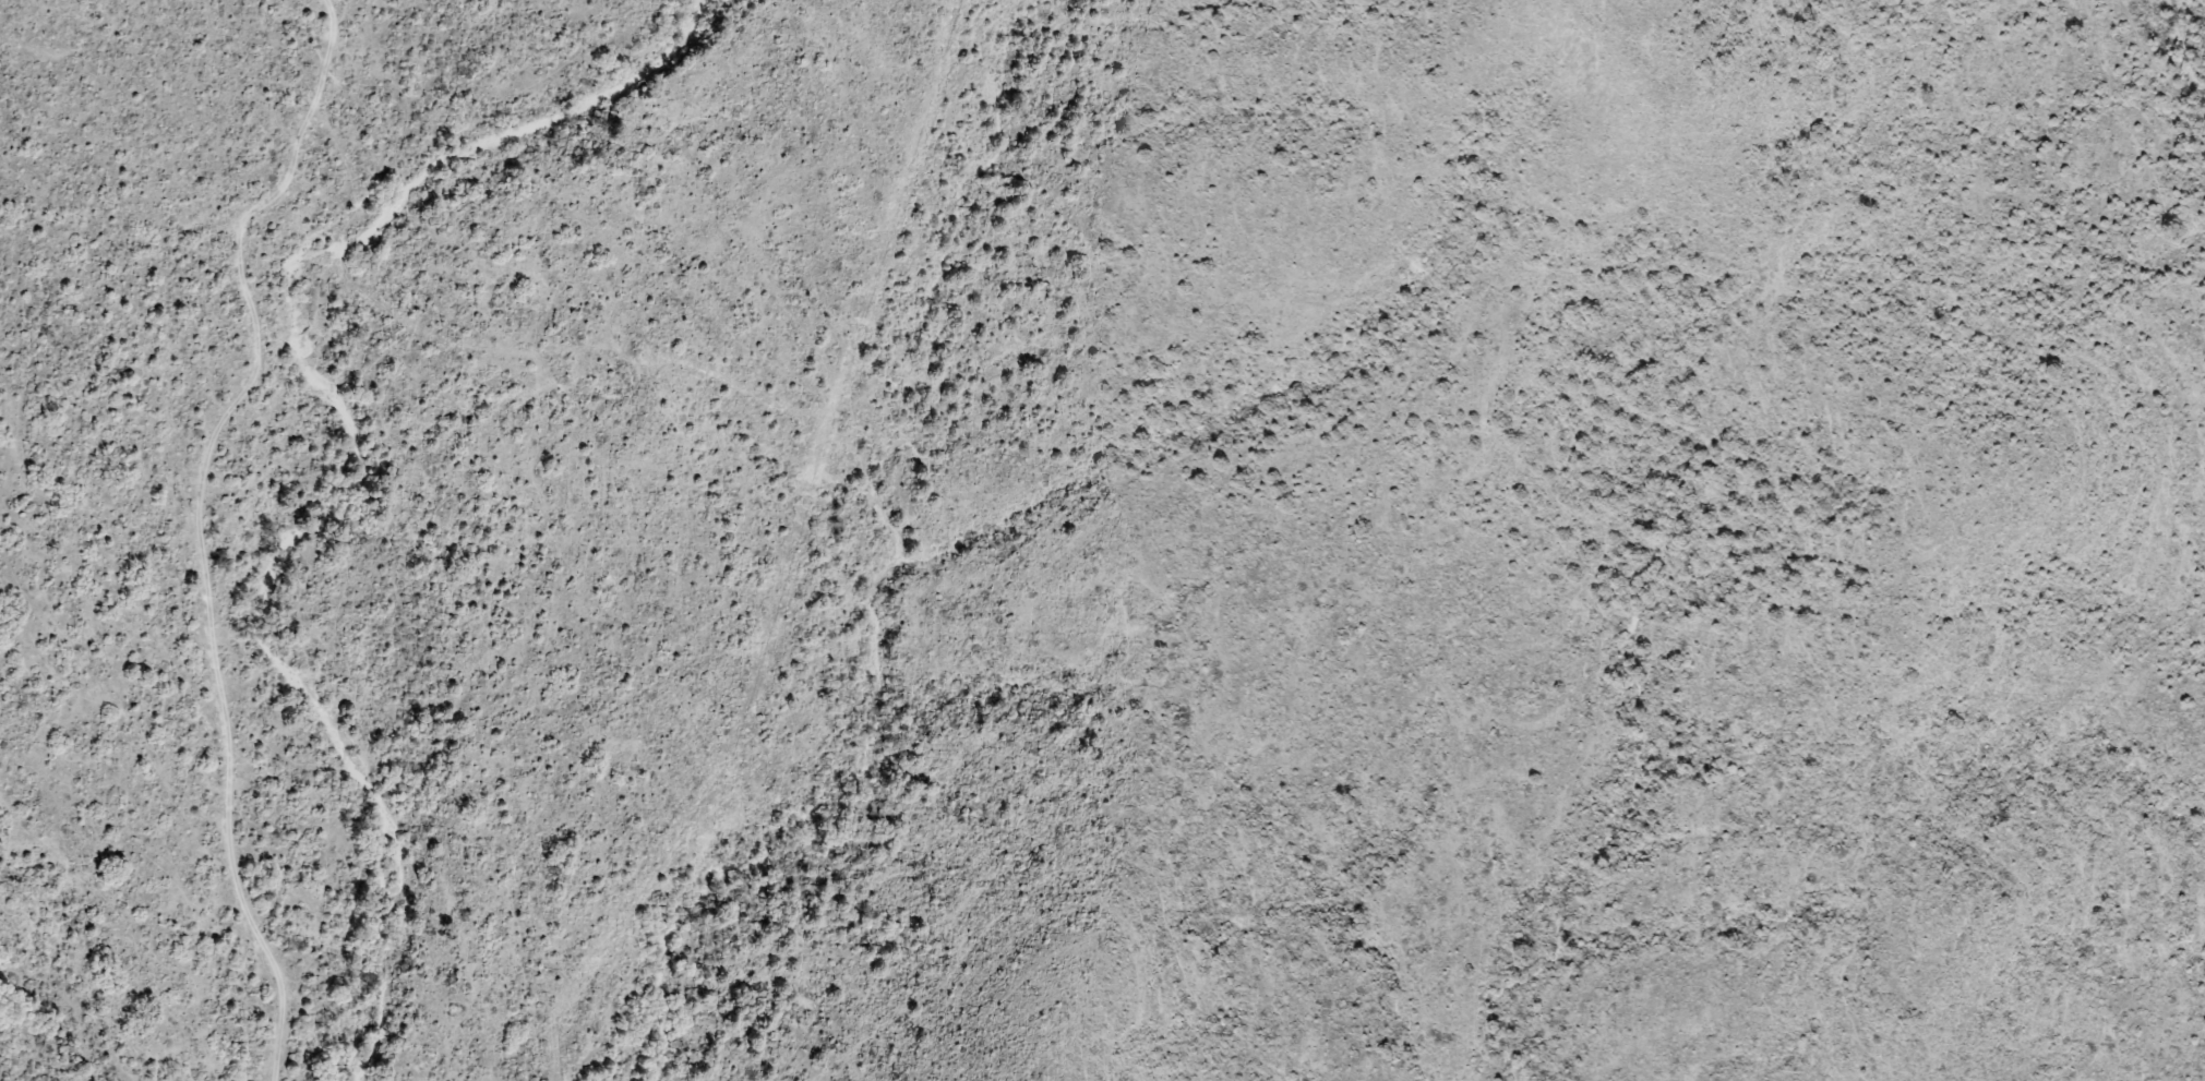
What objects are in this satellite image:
road: (191, 526)

